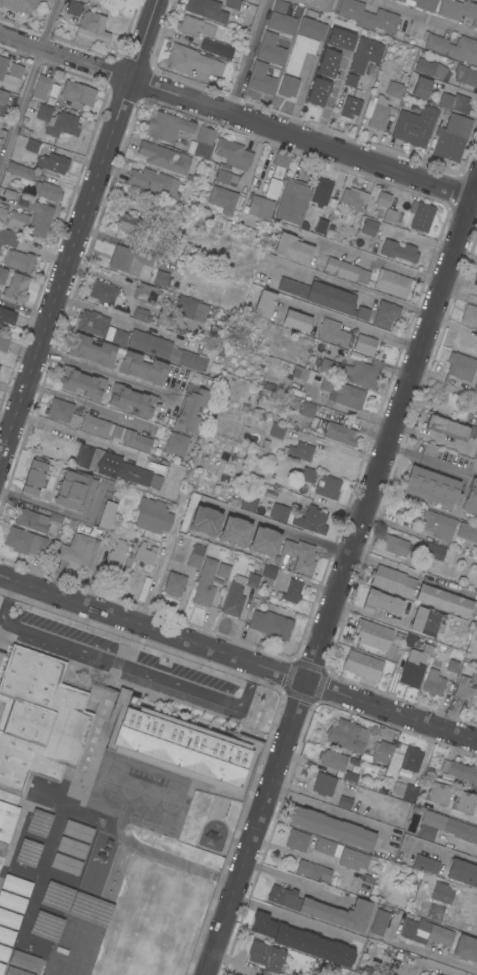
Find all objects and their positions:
building: (49, 0)
building: (123, 0)
building: (401, 0)
building: (20, 4)
building: (233, 4)
building: (314, 4)
building: (426, 4)
building: (280, 5)
building: (73, 8)
building: (206, 9)
building: (459, 10)
building: (366, 15)
road: (423, 17)
building: (281, 22)
building: (92, 25)
building: (194, 25)
building: (334, 37)
building: (304, 43)
building: (213, 46)
building: (454, 47)
building: (270, 49)
building: (365, 54)
road: (248, 55)
building: (191, 60)
building: (326, 64)
building: (2, 66)
building: (431, 66)
building: (15, 70)
building: (464, 73)
building: (401, 75)
building: (260, 78)
building: (400, 80)
building: (349, 84)
building: (384, 84)
building: (288, 86)
road: (30, 87)
building: (41, 87)
building: (421, 87)
building: (322, 88)
building: (395, 89)
building: (78, 92)
building: (3, 99)
building: (454, 102)
building: (348, 105)
building: (413, 109)
road: (236, 113)
building: (379, 115)
building: (58, 121)
building: (415, 125)
building: (167, 126)
building: (452, 137)
building: (205, 142)
building: (32, 146)
building: (233, 153)
building: (164, 157)
building: (53, 162)
building: (280, 163)
building: (19, 170)
building: (223, 176)
building: (153, 181)
building: (273, 188)
building: (47, 191)
building: (321, 193)
building: (10, 194)
building: (223, 198)
building: (353, 198)
building: (383, 198)
road: (473, 201)
building: (291, 205)
building: (259, 206)
building: (37, 215)
building: (392, 216)
building: (419, 216)
building: (14, 219)
building: (322, 222)
building: (127, 223)
building: (370, 226)
road: (77, 227)
building: (8, 237)
road: (130, 244)
building: (293, 248)
building: (406, 252)
road: (364, 255)
building: (18, 260)
building: (129, 260)
building: (346, 270)
building: (3, 275)
building: (161, 277)
building: (475, 279)
building: (392, 283)
road: (351, 286)
road: (459, 288)
building: (16, 289)
building: (103, 292)
building: (145, 293)
building: (325, 296)
building: (264, 304)
building: (191, 308)
building: (140, 313)
building: (385, 313)
building: (469, 314)
building: (7, 316)
building: (297, 320)
road: (131, 321)
building: (93, 322)
road: (355, 326)
building: (334, 332)
building: (119, 337)
building: (3, 342)
building: (365, 344)
building: (165, 349)
building: (92, 350)
building: (460, 366)
building: (142, 367)
building: (353, 371)
road: (108, 373)
building: (300, 373)
building: (81, 382)
building: (475, 388)
building: (344, 392)
building: (265, 398)
building: (131, 400)
road: (92, 404)
building: (189, 408)
building: (62, 411)
building: (328, 426)
building: (447, 427)
building: (277, 430)
building: (115, 432)
road: (74, 437)
road: (438, 442)
building: (176, 443)
building: (430, 449)
building: (300, 450)
road: (431, 461)
building: (110, 465)
building: (308, 474)
building: (34, 477)
building: (328, 486)
building: (433, 486)
building: (74, 491)
building: (471, 498)
building: (247, 502)
road: (66, 512)
building: (279, 512)
building: (106, 514)
building: (153, 515)
building: (35, 519)
building: (203, 520)
building: (311, 520)
building: (438, 524)
road: (400, 530)
building: (234, 531)
building: (467, 531)
road: (304, 534)
building: (263, 541)
building: (26, 542)
building: (395, 545)
building: (81, 547)
building: (437, 552)
building: (116, 553)
building: (196, 553)
building: (302, 553)
building: (144, 554)
road: (165, 558)
building: (223, 570)
road: (412, 572)
building: (268, 573)
road: (341, 577)
building: (175, 579)
building: (252, 580)
building: (393, 580)
building: (205, 583)
building: (291, 591)
building: (233, 599)
building: (444, 600)
building: (381, 602)
building: (426, 620)
building: (271, 624)
parking lot: (69, 631)
building: (373, 634)
building: (476, 637)
building: (410, 640)
road: (238, 657)
road: (123, 664)
building: (362, 664)
building: (414, 666)
parking lot: (189, 673)
building: (439, 678)
building: (466, 687)
building: (38, 719)
building: (347, 735)
building: (182, 747)
building: (381, 751)
building: (333, 760)
building: (354, 761)
building: (356, 770)
building: (463, 771)
building: (409, 772)
building: (350, 776)
building: (446, 778)
building: (323, 784)
building: (398, 789)
building: (438, 793)
building: (344, 802)
building: (463, 802)
road: (339, 814)
road: (453, 815)
building: (476, 817)
building: (433, 819)
building: (7, 820)
building: (332, 827)
building: (461, 830)
building: (78, 831)
building: (427, 832)
building: (297, 840)
building: (1, 845)
building: (324, 846)
building: (72, 847)
road: (435, 850)
road: (302, 858)
building: (355, 859)
building: (66, 864)
building: (426, 864)
building: (313, 870)
building: (463, 872)
building: (16, 885)
road: (294, 887)
building: (442, 892)
building: (53, 896)
building: (12, 901)
building: (322, 908)
building: (435, 912)
building: (9, 919)
road: (296, 920)
building: (379, 922)
building: (426, 932)
building: (43, 934)
building: (6, 936)
building: (302, 940)
building: (465, 948)
building: (4, 953)
road: (428, 953)
building: (267, 956)
building: (25, 961)
building: (1, 967)
building: (15, 971)
building: (438, 974)

